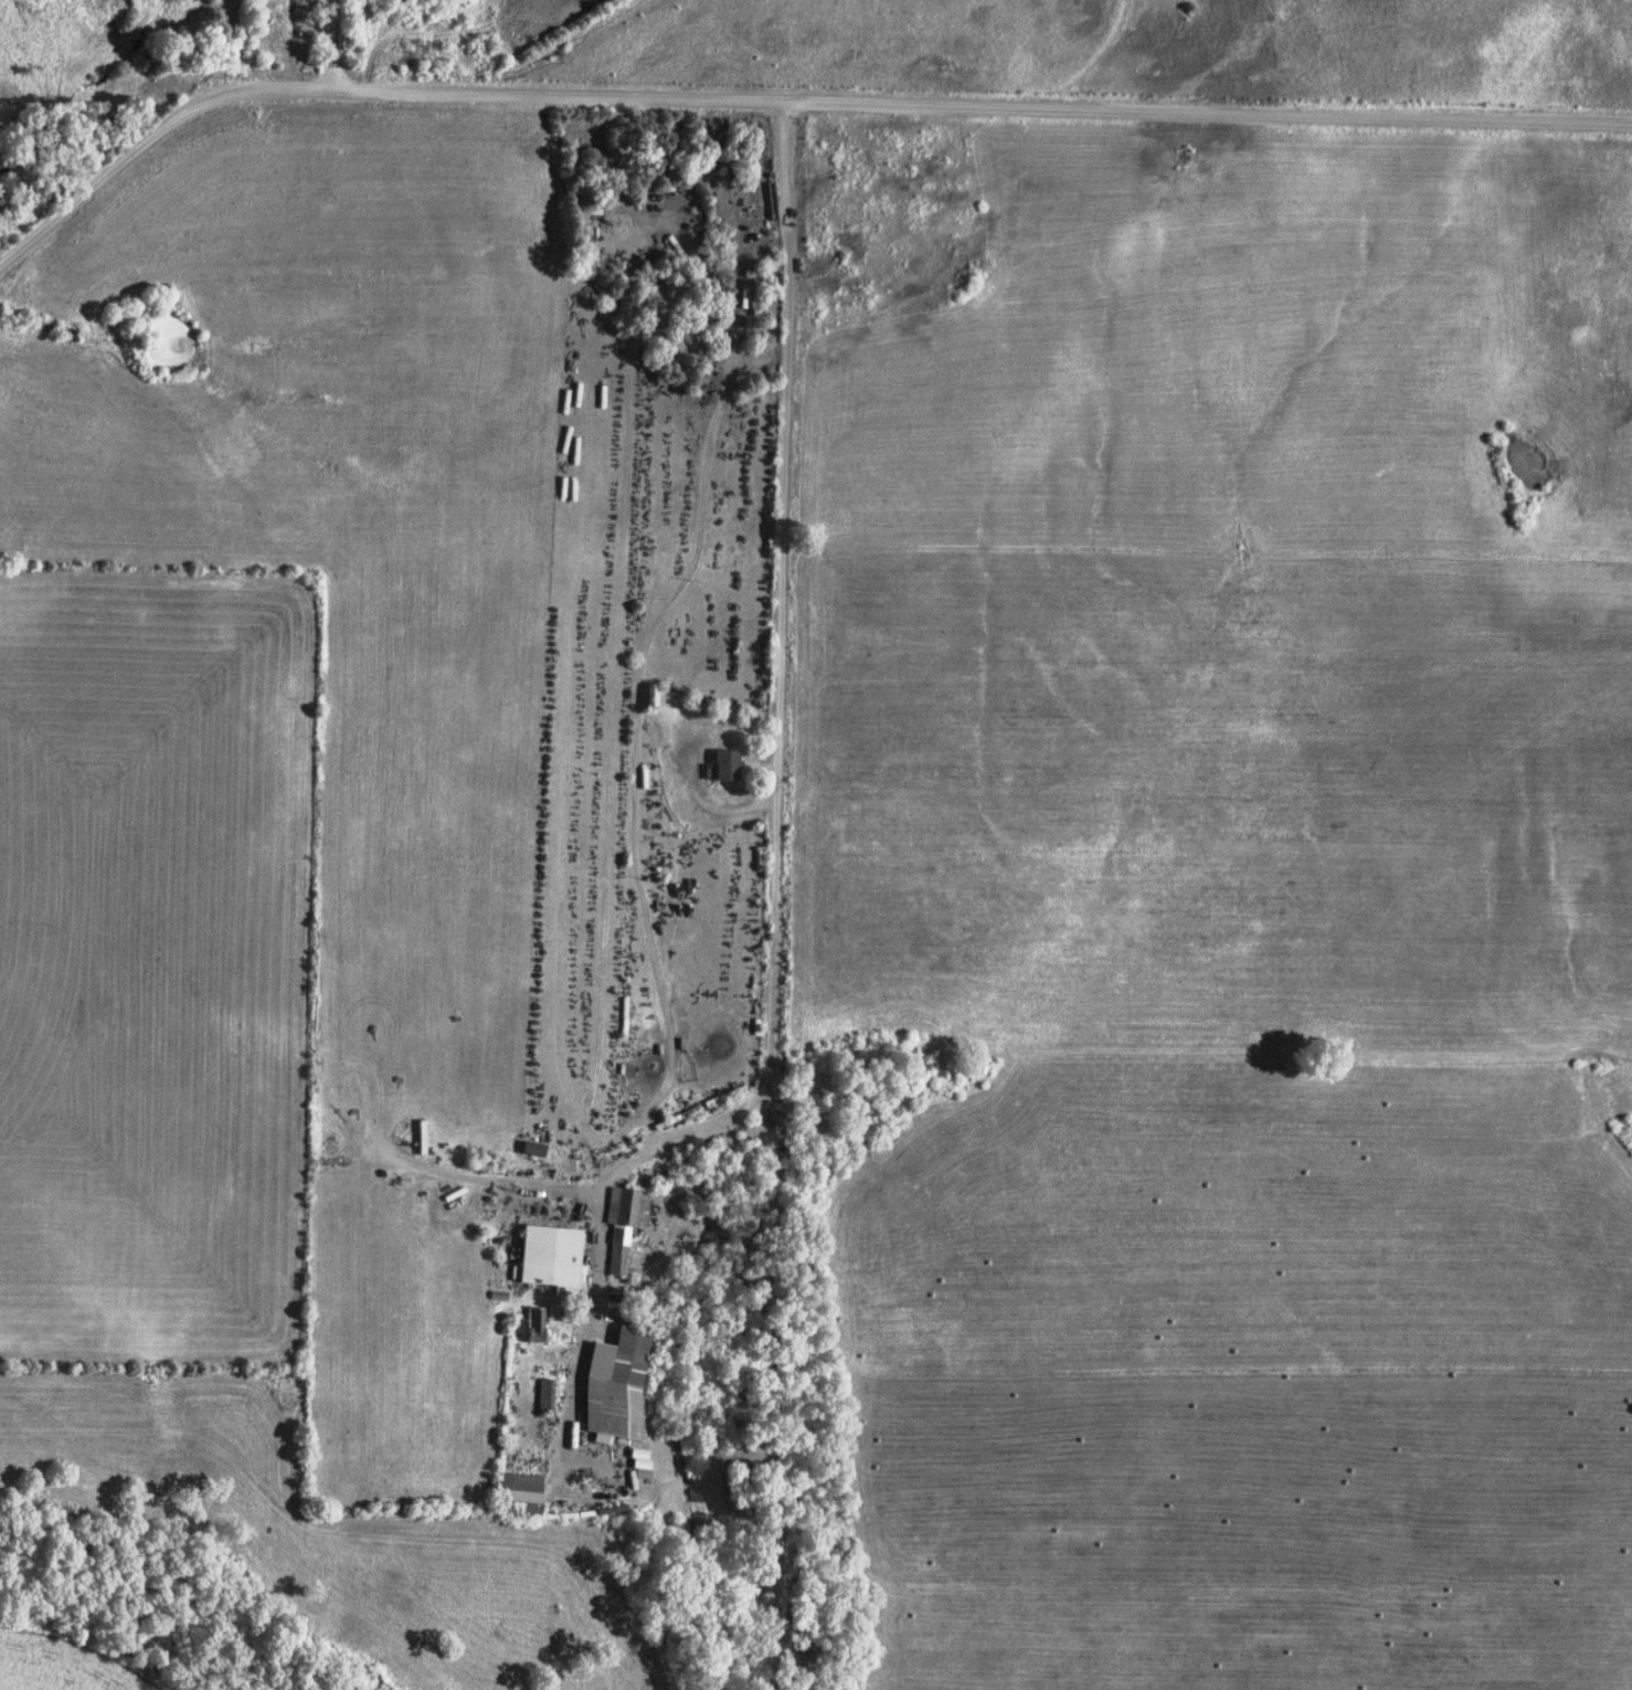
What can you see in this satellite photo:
road: (337, 42)
road: (784, 96)
building: (731, 767)
road: (780, 862)
building: (538, 1149)
building: (627, 1223)
building: (553, 1256)
building: (539, 1324)
building: (618, 1384)
building: (549, 1395)
building: (604, 1439)
building: (640, 1469)

